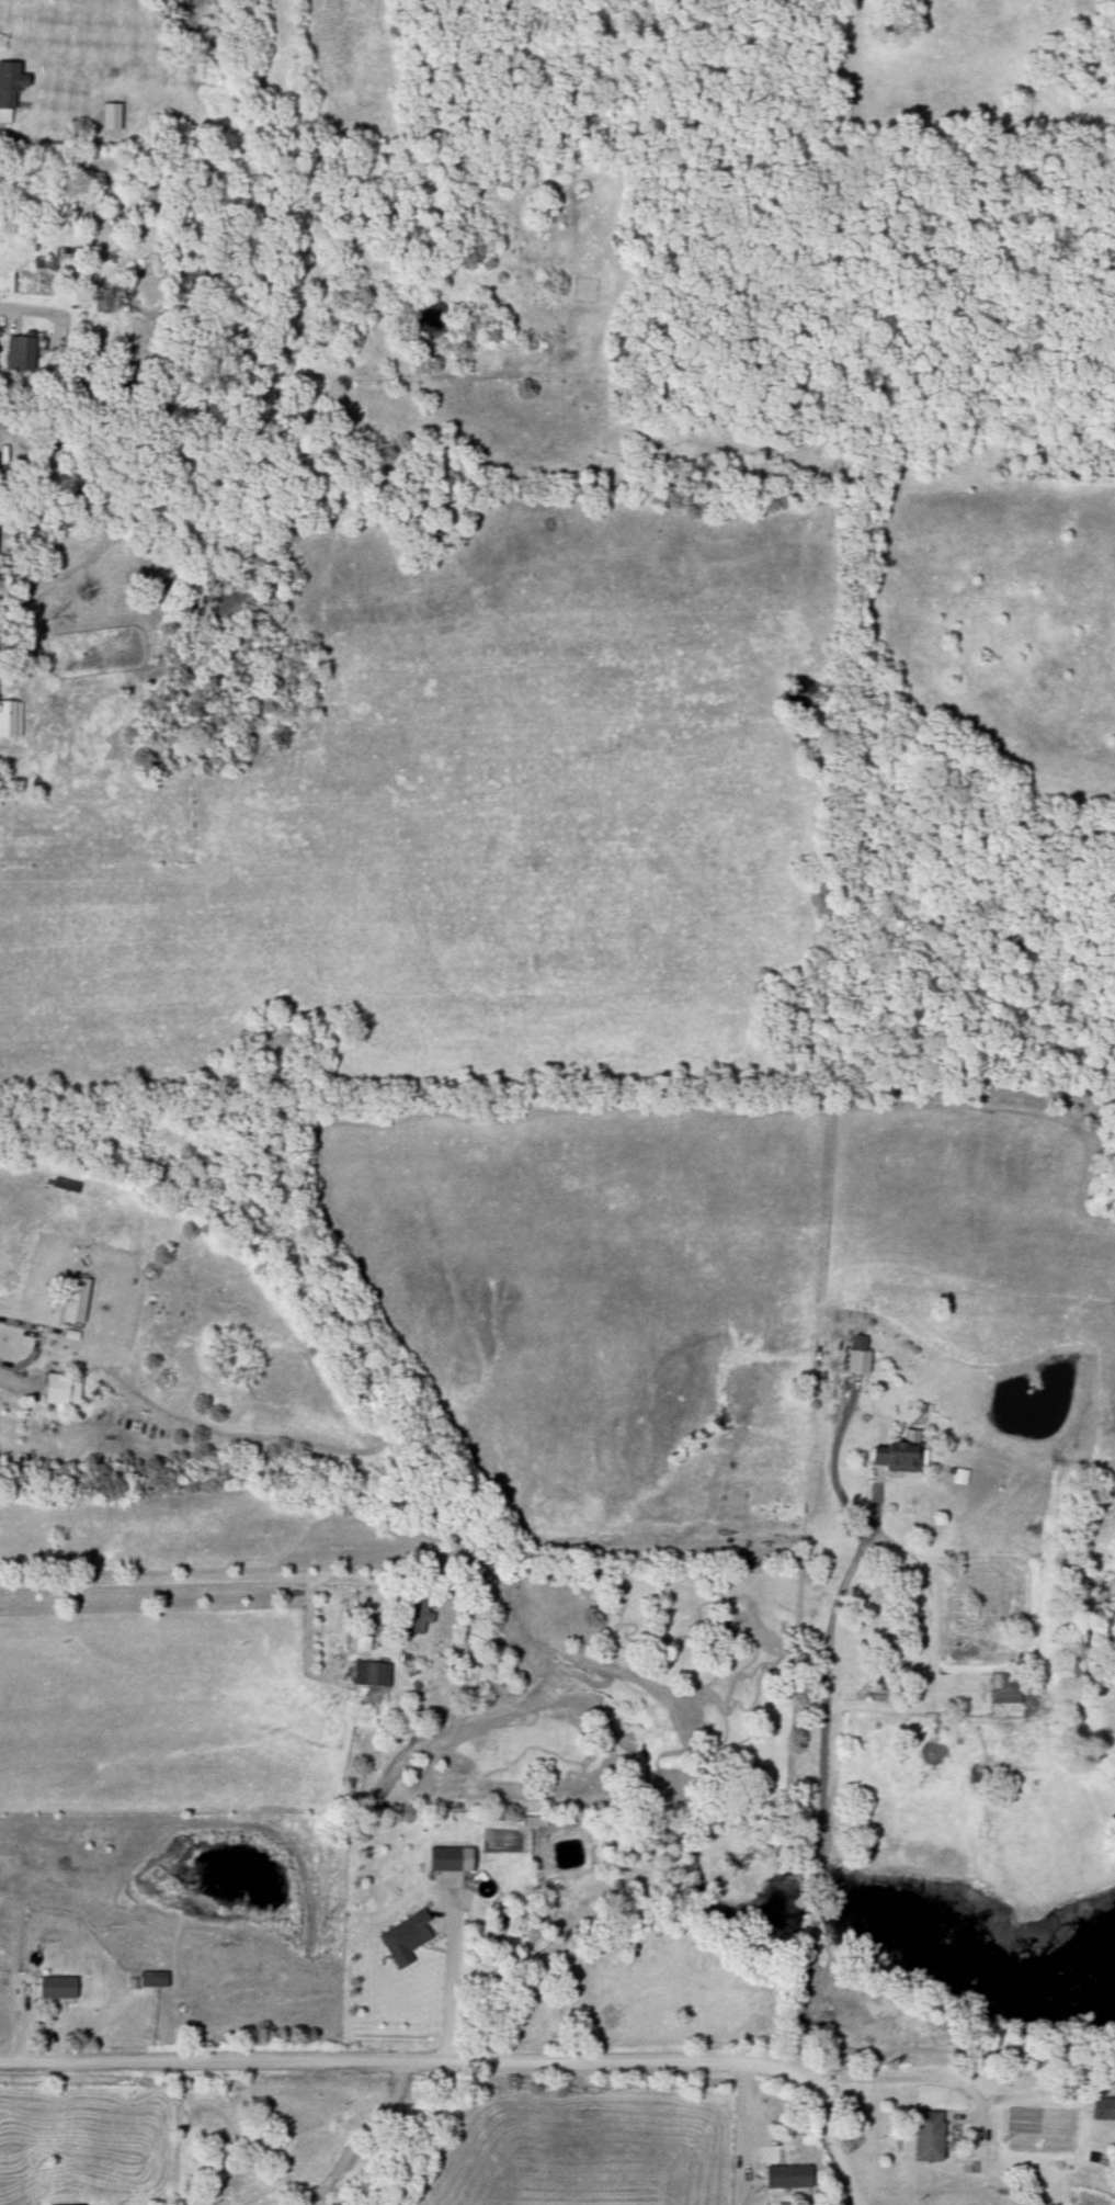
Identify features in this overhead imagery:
building: (9, 90)
building: (113, 117)
building: (22, 352)
building: (10, 720)
building: (77, 1299)
road: (16, 1323)
building: (860, 1337)
building: (861, 1362)
building: (64, 1390)
building: (898, 1457)
road: (831, 1465)
road: (200, 1584)
building: (416, 1613)
building: (372, 1674)
building: (1001, 1688)
road: (826, 1701)
building: (446, 1859)
building: (402, 1937)
road: (450, 1972)
building: (156, 1979)
building: (58, 1988)
building: (856, 2043)
road: (403, 2063)
road: (897, 2078)
building: (1101, 2110)
road: (748, 2118)
road: (359, 2135)
building: (924, 2136)
road: (837, 2139)
building: (789, 2178)

